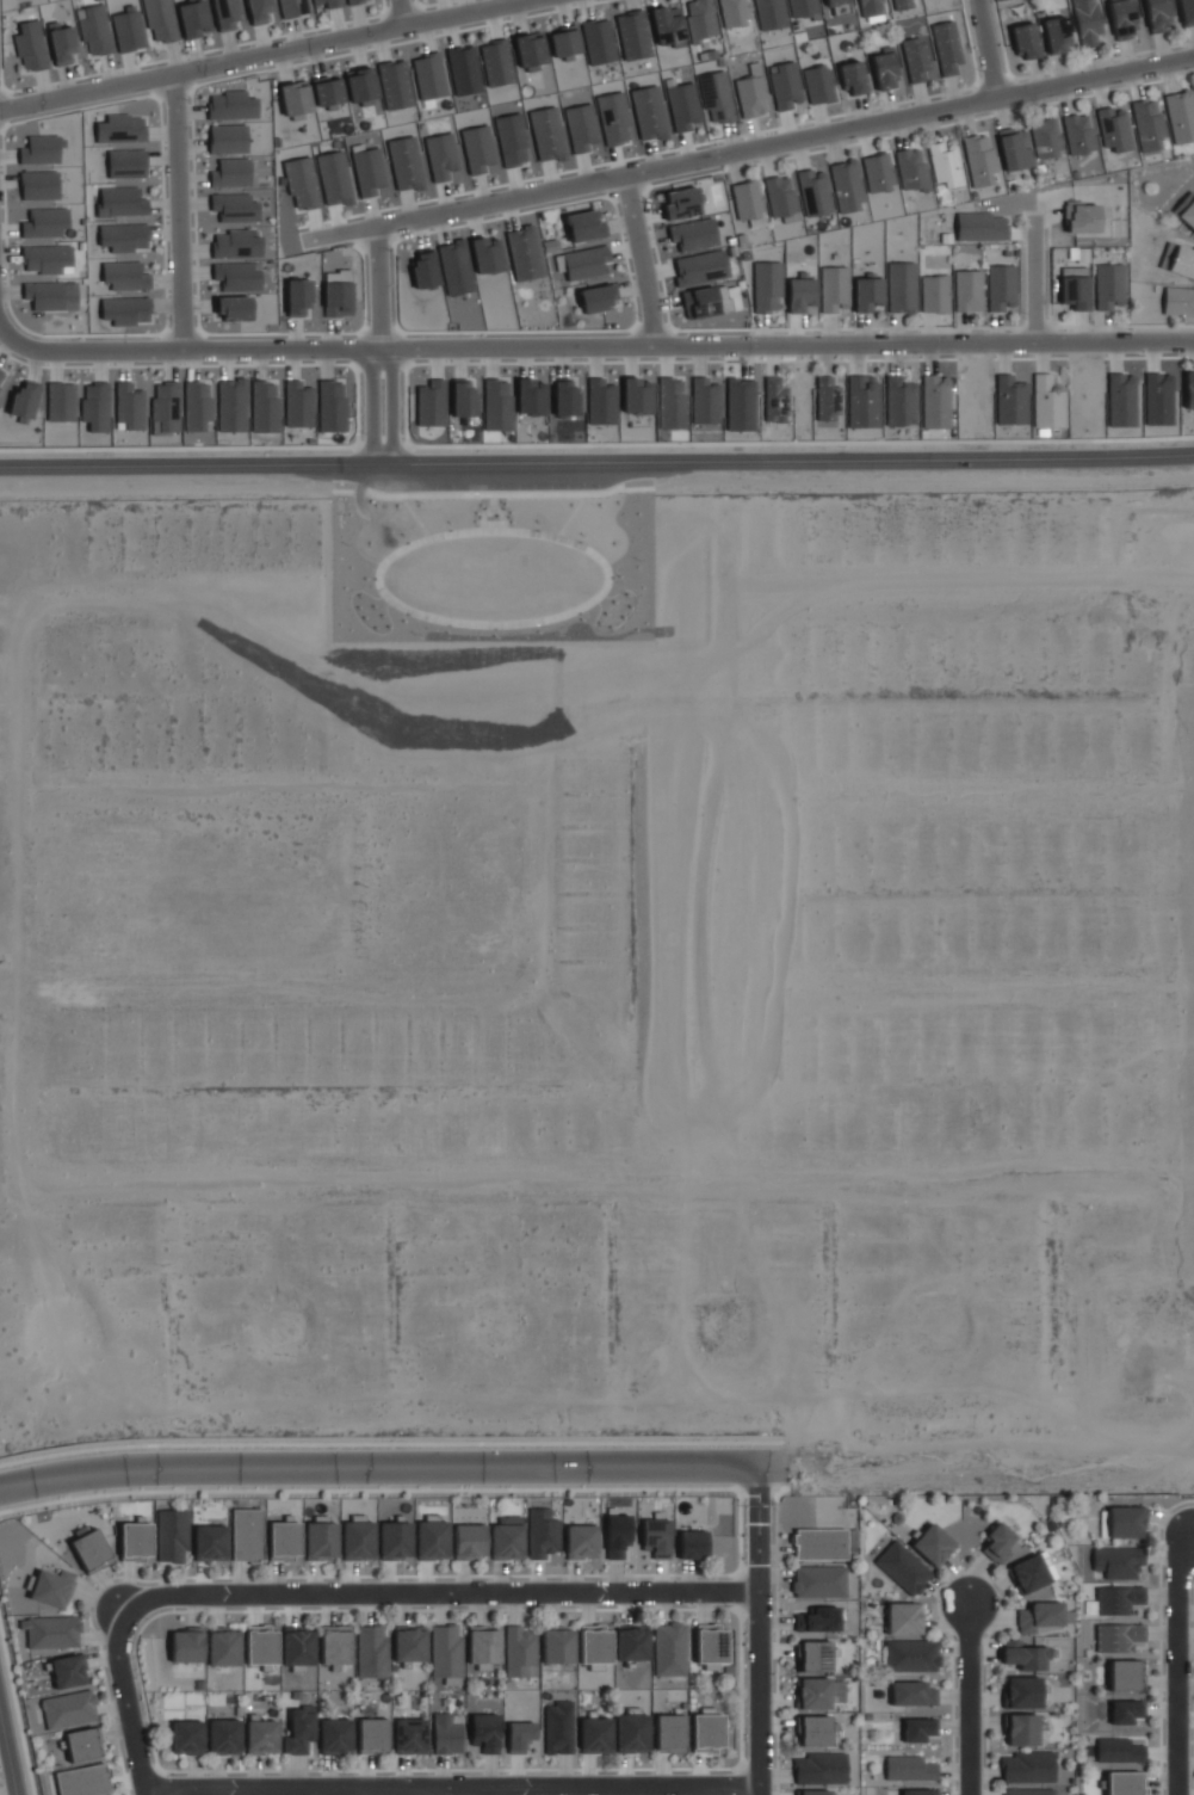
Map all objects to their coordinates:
building: (354, 1)
building: (835, 1)
building: (328, 2)
building: (903, 4)
building: (292, 7)
building: (802, 7)
building: (867, 7)
building: (1187, 11)
road: (403, 12)
building: (734, 12)
building: (225, 13)
building: (769, 14)
building: (1158, 16)
building: (193, 18)
building: (1122, 18)
building: (699, 19)
building: (160, 20)
building: (1087, 21)
building: (667, 25)
building: (128, 30)
building: (94, 31)
building: (1057, 35)
building: (632, 36)
building: (598, 41)
building: (1026, 41)
building: (564, 42)
building: (61, 43)
building: (30, 45)
building: (948, 48)
road: (985, 49)
building: (528, 50)
road: (262, 56)
building: (917, 60)
building: (496, 62)
building: (885, 68)
building: (464, 69)
building: (428, 75)
building: (853, 78)
building: (394, 84)
building: (819, 84)
building: (786, 85)
building: (360, 86)
building: (328, 91)
building: (753, 92)
building: (716, 97)
building: (295, 99)
building: (681, 103)
building: (233, 105)
building: (649, 112)
building: (1181, 115)
building: (613, 118)
building: (1149, 124)
building: (581, 127)
building: (120, 129)
building: (1114, 130)
building: (1078, 132)
building: (546, 134)
building: (1046, 137)
building: (228, 138)
building: (512, 140)
building: (477, 148)
building: (1014, 148)
building: (42, 149)
road: (747, 149)
building: (441, 155)
building: (979, 159)
building: (406, 162)
building: (128, 164)
building: (945, 165)
building: (912, 168)
building: (369, 171)
building: (879, 172)
building: (230, 173)
building: (334, 178)
building: (301, 183)
building: (39, 185)
building: (847, 185)
building: (815, 191)
building: (781, 195)
building: (749, 201)
building: (122, 202)
building: (681, 203)
building: (236, 206)
building: (1187, 209)
road: (178, 212)
building: (1082, 217)
building: (47, 223)
building: (584, 226)
building: (982, 226)
building: (693, 234)
building: (123, 238)
building: (235, 243)
building: (524, 253)
building: (487, 254)
building: (47, 259)
road: (639, 260)
building: (584, 261)
building: (1182, 261)
building: (454, 267)
building: (700, 267)
building: (423, 269)
building: (222, 271)
building: (124, 276)
road: (1031, 279)
building: (245, 282)
building: (1109, 284)
building: (768, 286)
building: (902, 286)
building: (1001, 288)
building: (835, 289)
building: (969, 290)
building: (1075, 291)
building: (800, 292)
building: (866, 292)
building: (336, 294)
building: (935, 294)
building: (44, 295)
building: (298, 296)
building: (598, 297)
building: (706, 301)
building: (1178, 301)
building: (233, 308)
building: (125, 311)
road: (2, 331)
road: (382, 344)
road: (598, 346)
building: (2, 376)
building: (1189, 391)
building: (636, 395)
building: (530, 396)
building: (564, 397)
building: (775, 397)
building: (463, 399)
building: (828, 399)
building: (1010, 400)
building: (61, 401)
building: (704, 401)
building: (862, 401)
building: (899, 401)
building: (24, 402)
building: (600, 402)
building: (1047, 402)
building: (431, 403)
building: (670, 403)
building: (231, 405)
building: (298, 405)
building: (330, 405)
building: (496, 405)
building: (740, 405)
building: (95, 406)
building: (165, 406)
building: (129, 407)
building: (264, 407)
building: (197, 408)
road: (596, 462)
park: (496, 561)
road: (115, 989)
road: (602, 1119)
road: (237, 1160)
road: (711, 1165)
road: (1175, 1234)
road: (527, 1337)
road: (992, 1463)
road: (394, 1467)
road: (759, 1486)
building: (1125, 1522)
building: (543, 1534)
building: (248, 1535)
building: (618, 1536)
building: (850, 1536)
building: (173, 1537)
building: (656, 1537)
building: (358, 1538)
building: (395, 1538)
building: (432, 1540)
building: (507, 1540)
building: (135, 1541)
building: (285, 1541)
building: (469, 1541)
building: (582, 1541)
building: (320, 1542)
building: (817, 1543)
building: (997, 1543)
building: (210, 1544)
building: (692, 1544)
building: (933, 1544)
building: (91, 1552)
building: (1118, 1561)
building: (1047, 1565)
building: (902, 1567)
building: (1029, 1573)
building: (818, 1581)
building: (51, 1590)
road: (439, 1592)
building: (1118, 1599)
building: (1041, 1615)
building: (904, 1618)
building: (821, 1620)
building: (51, 1634)
building: (1118, 1636)
building: (409, 1643)
building: (633, 1643)
building: (223, 1646)
building: (596, 1646)
building: (711, 1646)
building: (557, 1647)
building: (185, 1648)
building: (261, 1648)
building: (334, 1648)
building: (484, 1648)
building: (298, 1649)
building: (670, 1649)
road: (757, 1649)
building: (520, 1652)
building: (372, 1653)
building: (445, 1654)
building: (813, 1655)
building: (911, 1655)
building: (1023, 1655)
road: (1177, 1664)
building: (68, 1673)
building: (1125, 1674)
building: (819, 1692)
building: (1022, 1692)
building: (912, 1694)
road: (970, 1701)
road: (129, 1702)
building: (1126, 1710)
building: (68, 1711)
building: (559, 1727)
building: (918, 1729)
building: (1021, 1729)
building: (707, 1731)
building: (815, 1731)
building: (301, 1732)
building: (484, 1733)
building: (633, 1733)
building: (670, 1733)
building: (448, 1734)
building: (373, 1735)
building: (410, 1735)
building: (596, 1735)
building: (187, 1737)
building: (224, 1737)
building: (336, 1737)
building: (519, 1737)
building: (260, 1739)
building: (82, 1747)
building: (1119, 1751)
road: (8, 1753)
building: (1027, 1766)
building: (819, 1768)
building: (910, 1768)
building: (83, 1782)
building: (1126, 1783)
road: (452, 1789)
road: (447, 1791)
building: (918, 1791)
building: (1028, 1791)
building: (813, 1793)

